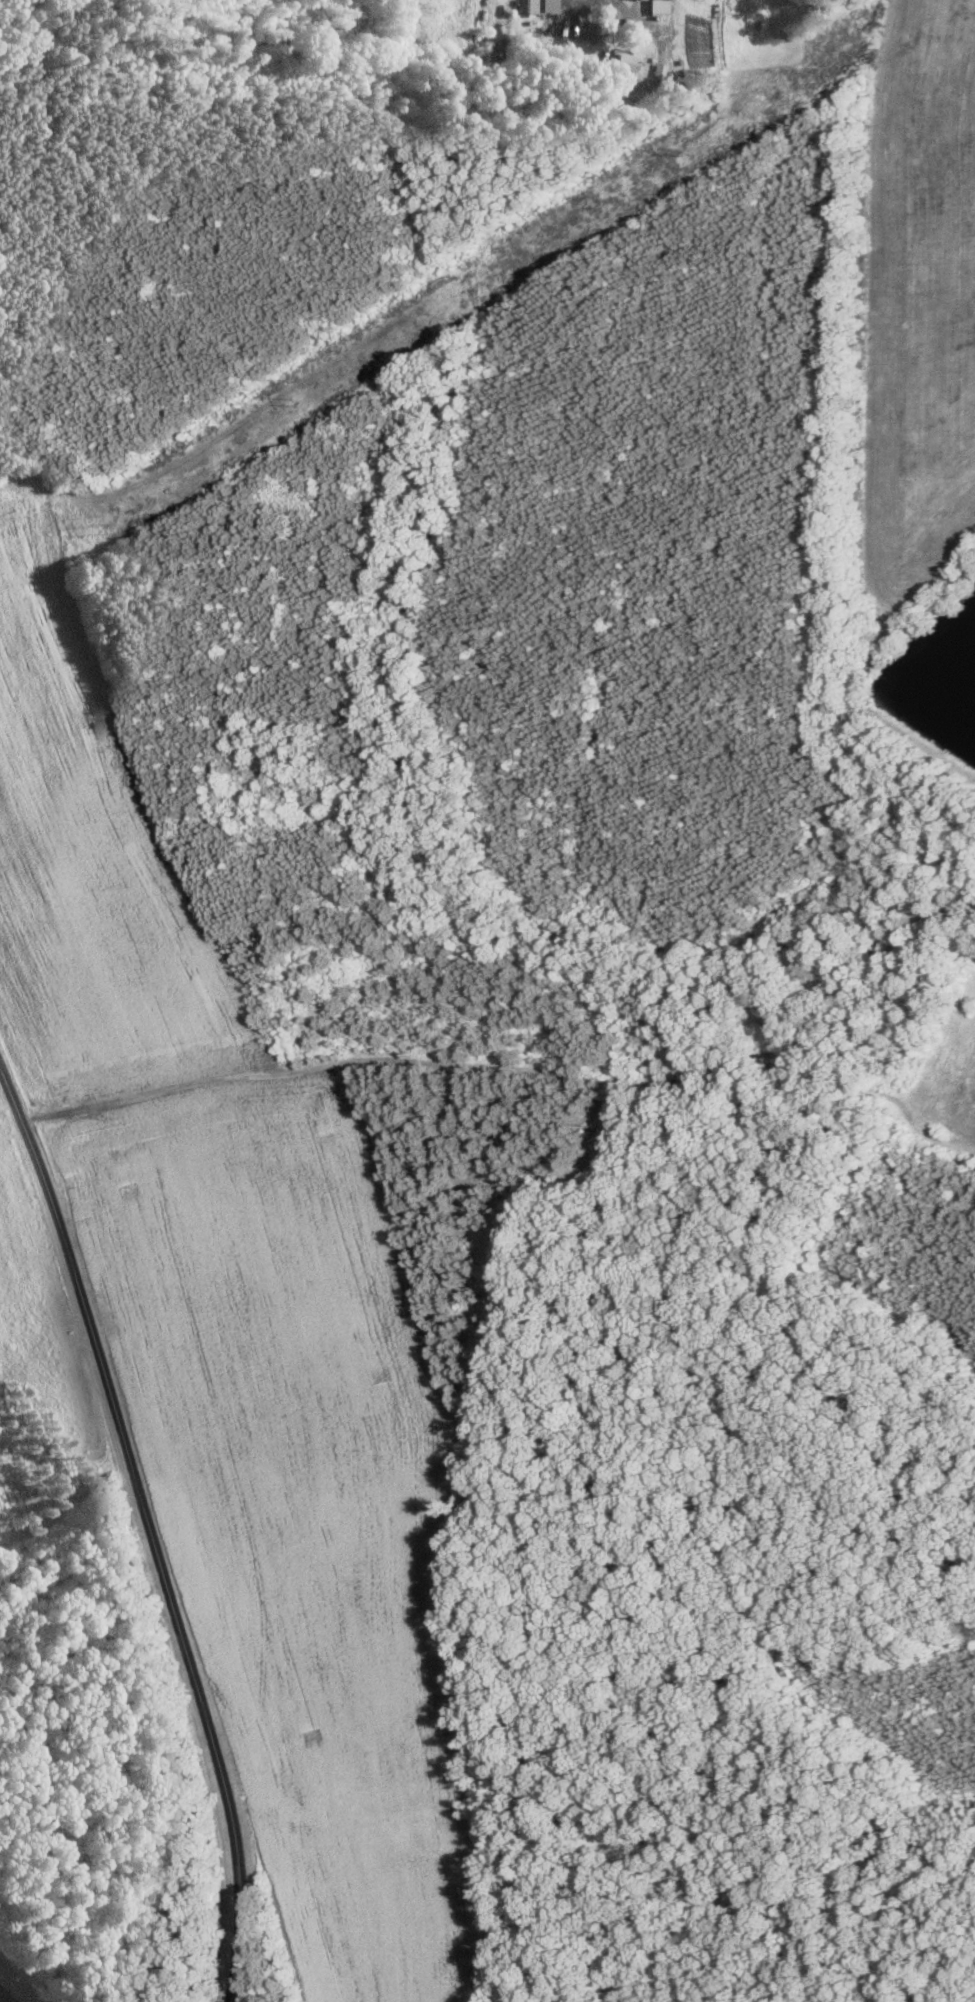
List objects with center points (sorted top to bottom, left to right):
building: (548, 5)
building: (658, 6)
road: (638, 15)
building: (626, 61)
road: (155, 1092)
road: (145, 1526)
road: (7, 1995)

